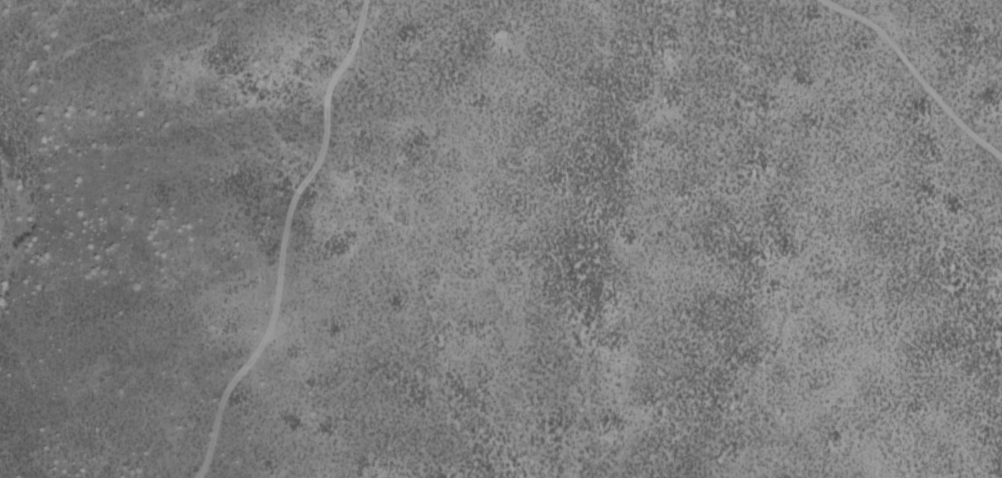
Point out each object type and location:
road: (932, 72)

